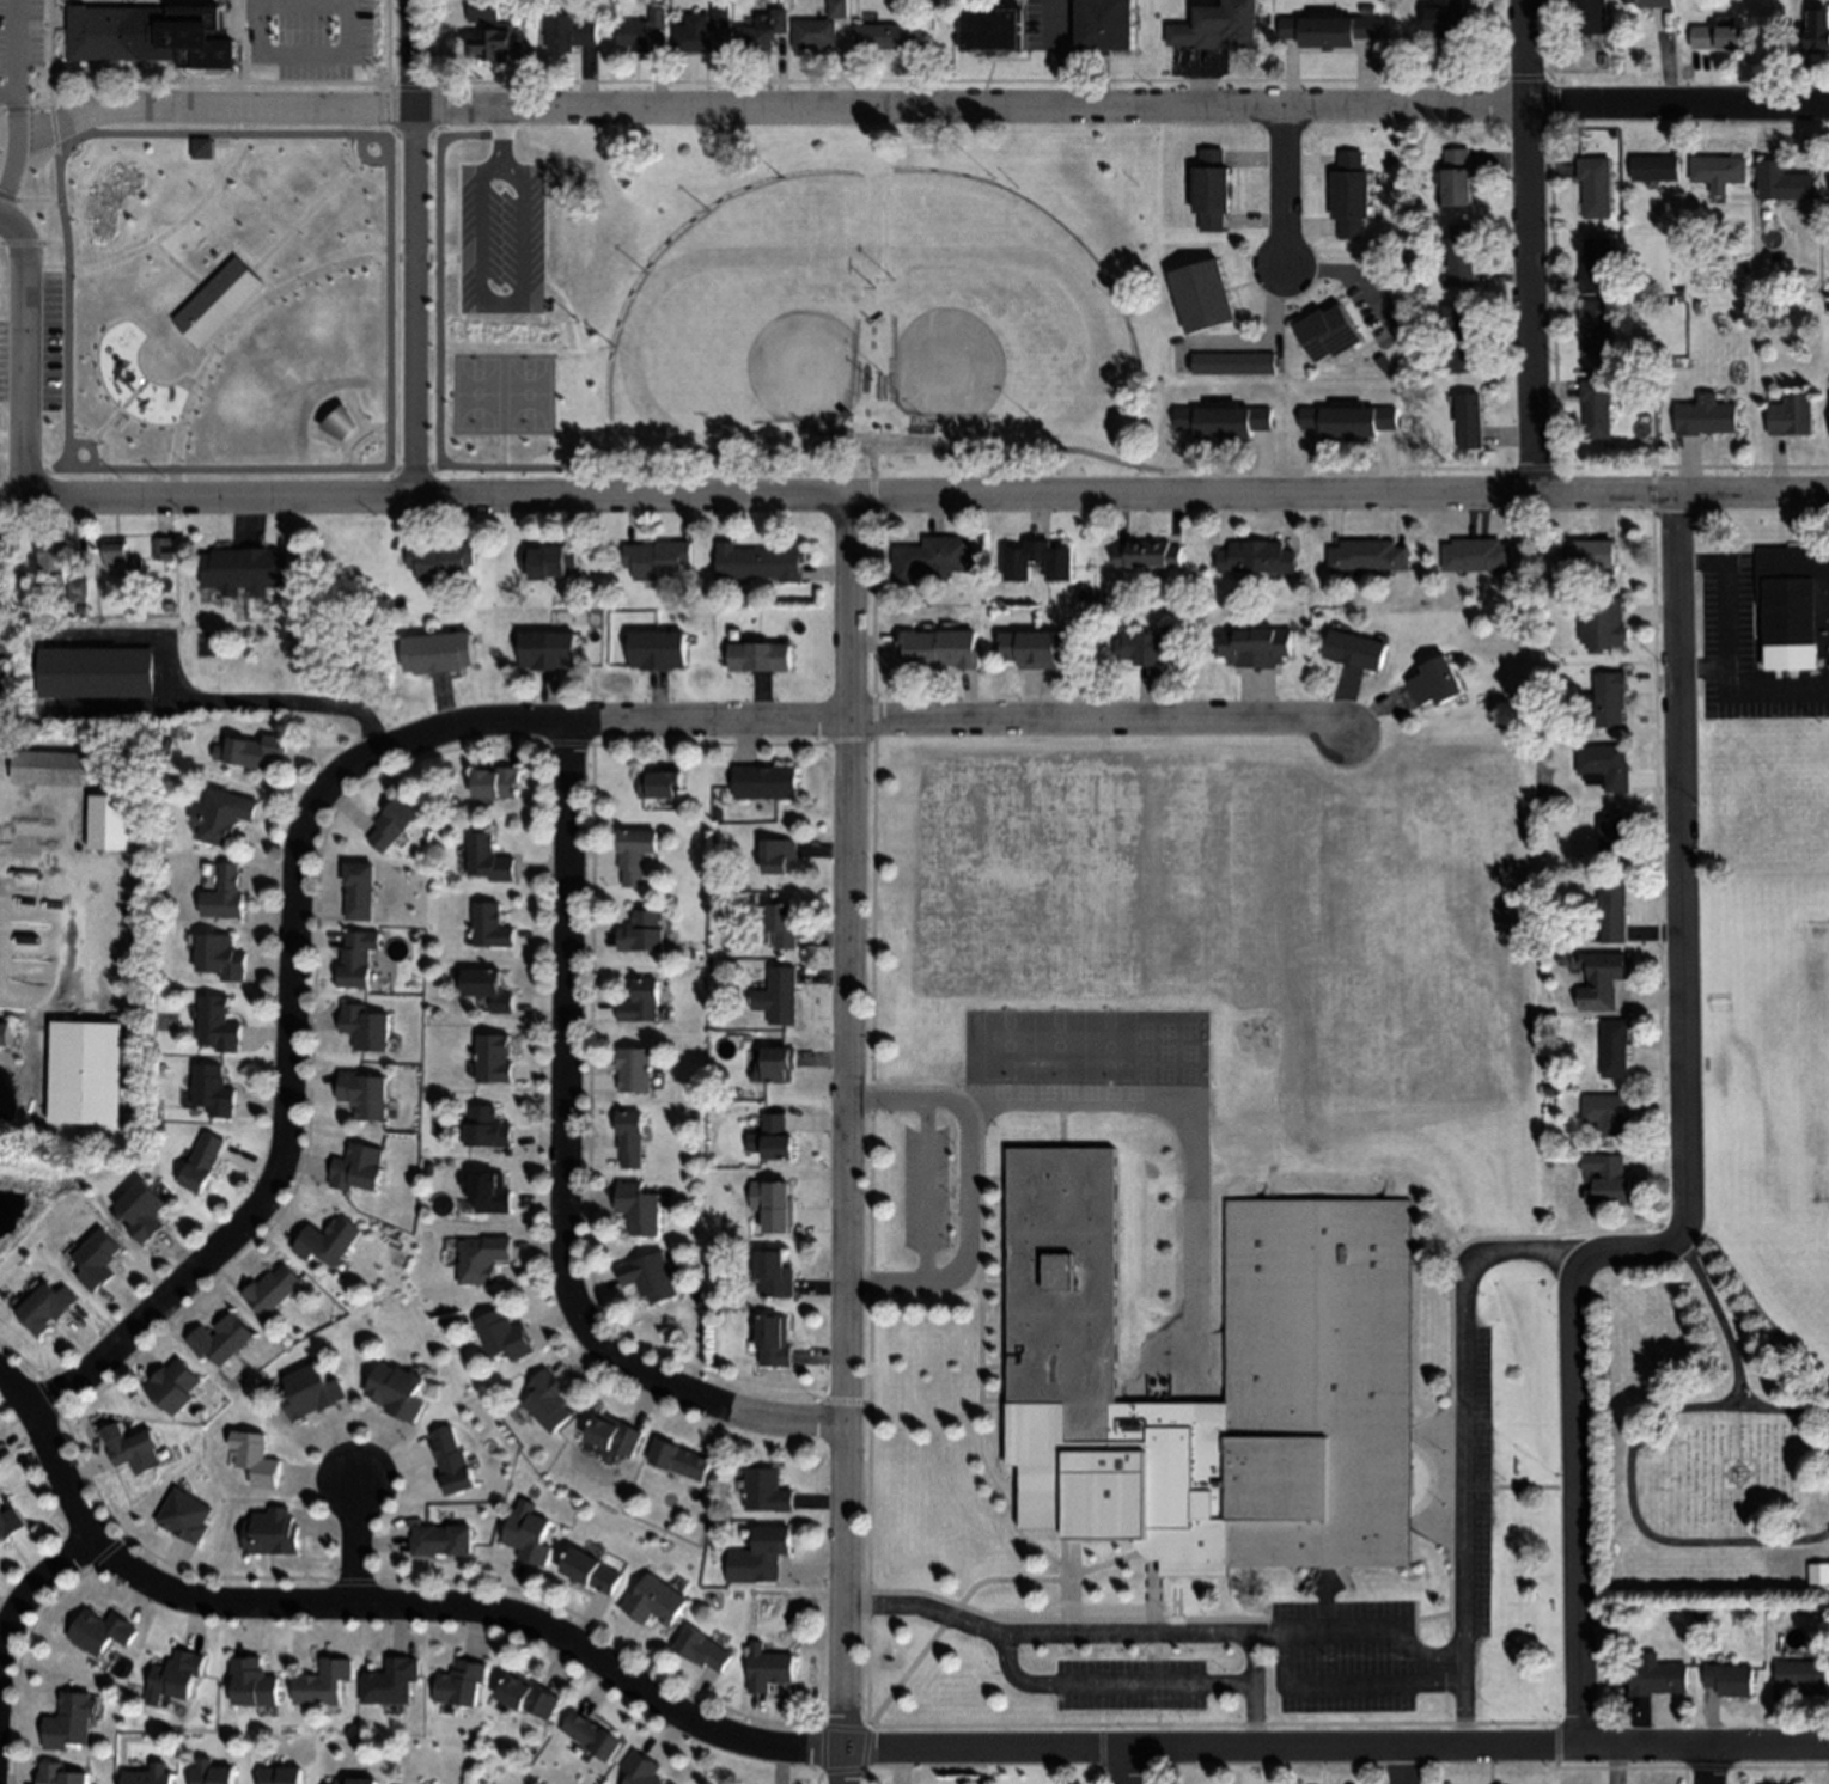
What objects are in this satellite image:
road: (133, 4)
road: (304, 4)
building: (1652, 4)
building: (188, 6)
building: (238, 7)
building: (361, 7)
building: (837, 8)
building: (1368, 10)
building: (482, 11)
building: (720, 16)
building: (1589, 17)
building: (657, 18)
building: (1451, 23)
building: (1105, 25)
building: (1220, 28)
building: (762, 29)
building: (1331, 29)
building: (993, 30)
building: (569, 32)
building: (1818, 32)
building: (693, 33)
building: (812, 35)
building: (634, 36)
building: (889, 36)
building: (1719, 36)
road: (248, 41)
building: (154, 42)
building: (494, 45)
road: (55, 50)
building: (250, 53)
building: (350, 56)
road: (305, 57)
road: (61, 65)
road: (19, 68)
road: (260, 85)
road: (10, 96)
road: (389, 106)
road: (1122, 108)
road: (26, 109)
road: (215, 110)
road: (2, 112)
road: (270, 128)
road: (53, 130)
road: (498, 140)
building: (202, 148)
building: (1654, 169)
building: (1719, 171)
road: (480, 173)
road: (10, 176)
building: (1459, 178)
building: (1782, 182)
building: (1828, 184)
road: (1279, 185)
building: (1596, 187)
building: (1212, 190)
building: (1352, 195)
road: (24, 203)
building: (178, 206)
road: (310, 210)
road: (166, 222)
road: (17, 237)
road: (1526, 248)
road: (415, 250)
building: (1463, 255)
building: (1597, 267)
road: (175, 270)
building: (1679, 291)
building: (1205, 295)
building: (1828, 305)
building: (234, 306)
park: (602, 306)
building: (1696, 306)
road: (295, 312)
building: (1596, 326)
building: (1329, 332)
building: (1462, 338)
building: (126, 346)
road: (392, 353)
building: (1384, 362)
parking lot: (493, 363)
building: (1233, 363)
road: (212, 375)
building: (1279, 377)
road: (26, 380)
road: (286, 405)
building: (1597, 409)
building: (1791, 415)
building: (1706, 416)
building: (1349, 418)
building: (1828, 418)
building: (1223, 420)
building: (1469, 421)
road: (97, 428)
road: (356, 435)
building: (483, 440)
road: (461, 466)
road: (914, 497)
building: (163, 548)
building: (1592, 554)
building: (1147, 555)
building: (118, 556)
building: (1477, 556)
building: (1367, 557)
building: (658, 558)
building: (1255, 558)
building: (439, 560)
building: (931, 560)
building: (55, 561)
building: (548, 562)
building: (757, 563)
building: (248, 569)
building: (1017, 569)
building: (78, 591)
building: (1792, 607)
building: (1604, 625)
building: (251, 627)
building: (1147, 647)
building: (939, 648)
building: (1037, 648)
building: (1257, 648)
building: (1353, 649)
building: (549, 650)
building: (658, 650)
building: (439, 653)
road: (1726, 654)
parking lot: (1746, 655)
building: (761, 656)
road: (1701, 670)
building: (98, 678)
building: (1434, 682)
building: (4, 689)
building: (1609, 698)
road: (279, 707)
road: (459, 728)
building: (256, 752)
building: (1605, 766)
building: (47, 769)
building: (764, 782)
building: (499, 783)
building: (662, 784)
building: (224, 817)
building: (111, 823)
building: (394, 825)
building: (1615, 841)
building: (636, 854)
building: (780, 855)
building: (489, 860)
road: (13, 862)
building: (360, 891)
building: (225, 894)
building: (1615, 911)
building: (719, 918)
building: (490, 925)
building: (782, 925)
building: (642, 933)
building: (221, 957)
building: (359, 957)
building: (1566, 963)
building: (1603, 980)
building: (489, 989)
building: (779, 996)
building: (642, 1003)
building: (219, 1024)
building: (366, 1026)
building: (4, 1034)
building: (1616, 1047)
building: (495, 1058)
building: (780, 1064)
building: (635, 1071)
building: (85, 1073)
building: (1550, 1076)
building: (215, 1088)
building: (1551, 1090)
building: (365, 1095)
building: (1609, 1113)
building: (488, 1129)
building: (778, 1137)
building: (632, 1138)
road: (845, 1141)
road: (1683, 1161)
building: (203, 1162)
building: (359, 1167)
road: (563, 1169)
building: (1609, 1180)
road: (967, 1191)
building: (489, 1192)
road: (927, 1193)
building: (775, 1203)
building: (640, 1208)
building: (144, 1210)
building: (327, 1241)
building: (1199, 1247)
building: (97, 1259)
building: (483, 1260)
building: (775, 1275)
building: (651, 1277)
building: (275, 1289)
building: (47, 1307)
road: (1721, 1314)
building: (506, 1336)
building: (221, 1339)
building: (774, 1342)
building: (176, 1386)
building: (315, 1392)
building: (401, 1392)
building: (549, 1401)
building: (618, 1435)
park: (1693, 1442)
road: (1462, 1443)
building: (136, 1450)
building: (258, 1458)
building: (681, 1460)
building: (455, 1461)
road: (1633, 1478)
building: (1736, 1478)
building: (767, 1490)
building: (188, 1515)
building: (11, 1522)
building: (275, 1533)
building: (531, 1534)
building: (444, 1540)
road: (356, 1546)
building: (762, 1553)
building: (595, 1572)
building: (1825, 1575)
road: (33, 1591)
building: (656, 1602)
building: (102, 1632)
road: (1160, 1637)
building: (705, 1650)
parking lot: (1225, 1662)
building: (769, 1668)
building: (179, 1675)
building: (1801, 1676)
building: (1658, 1678)
building: (1730, 1680)
building: (394, 1681)
building: (255, 1682)
building: (325, 1682)
building: (465, 1684)
road: (1134, 1688)
road: (1328, 1696)
building: (530, 1697)
road: (1251, 1719)
building: (68, 1724)
building: (593, 1736)
road: (839, 1749)
road: (1403, 1766)
road: (1711, 1766)
road: (1127, 1767)
building: (642, 1770)
road: (1782, 1770)
building: (214, 1773)
building: (62, 1774)
building: (282, 1776)
building: (150, 1778)
building: (358, 1782)

